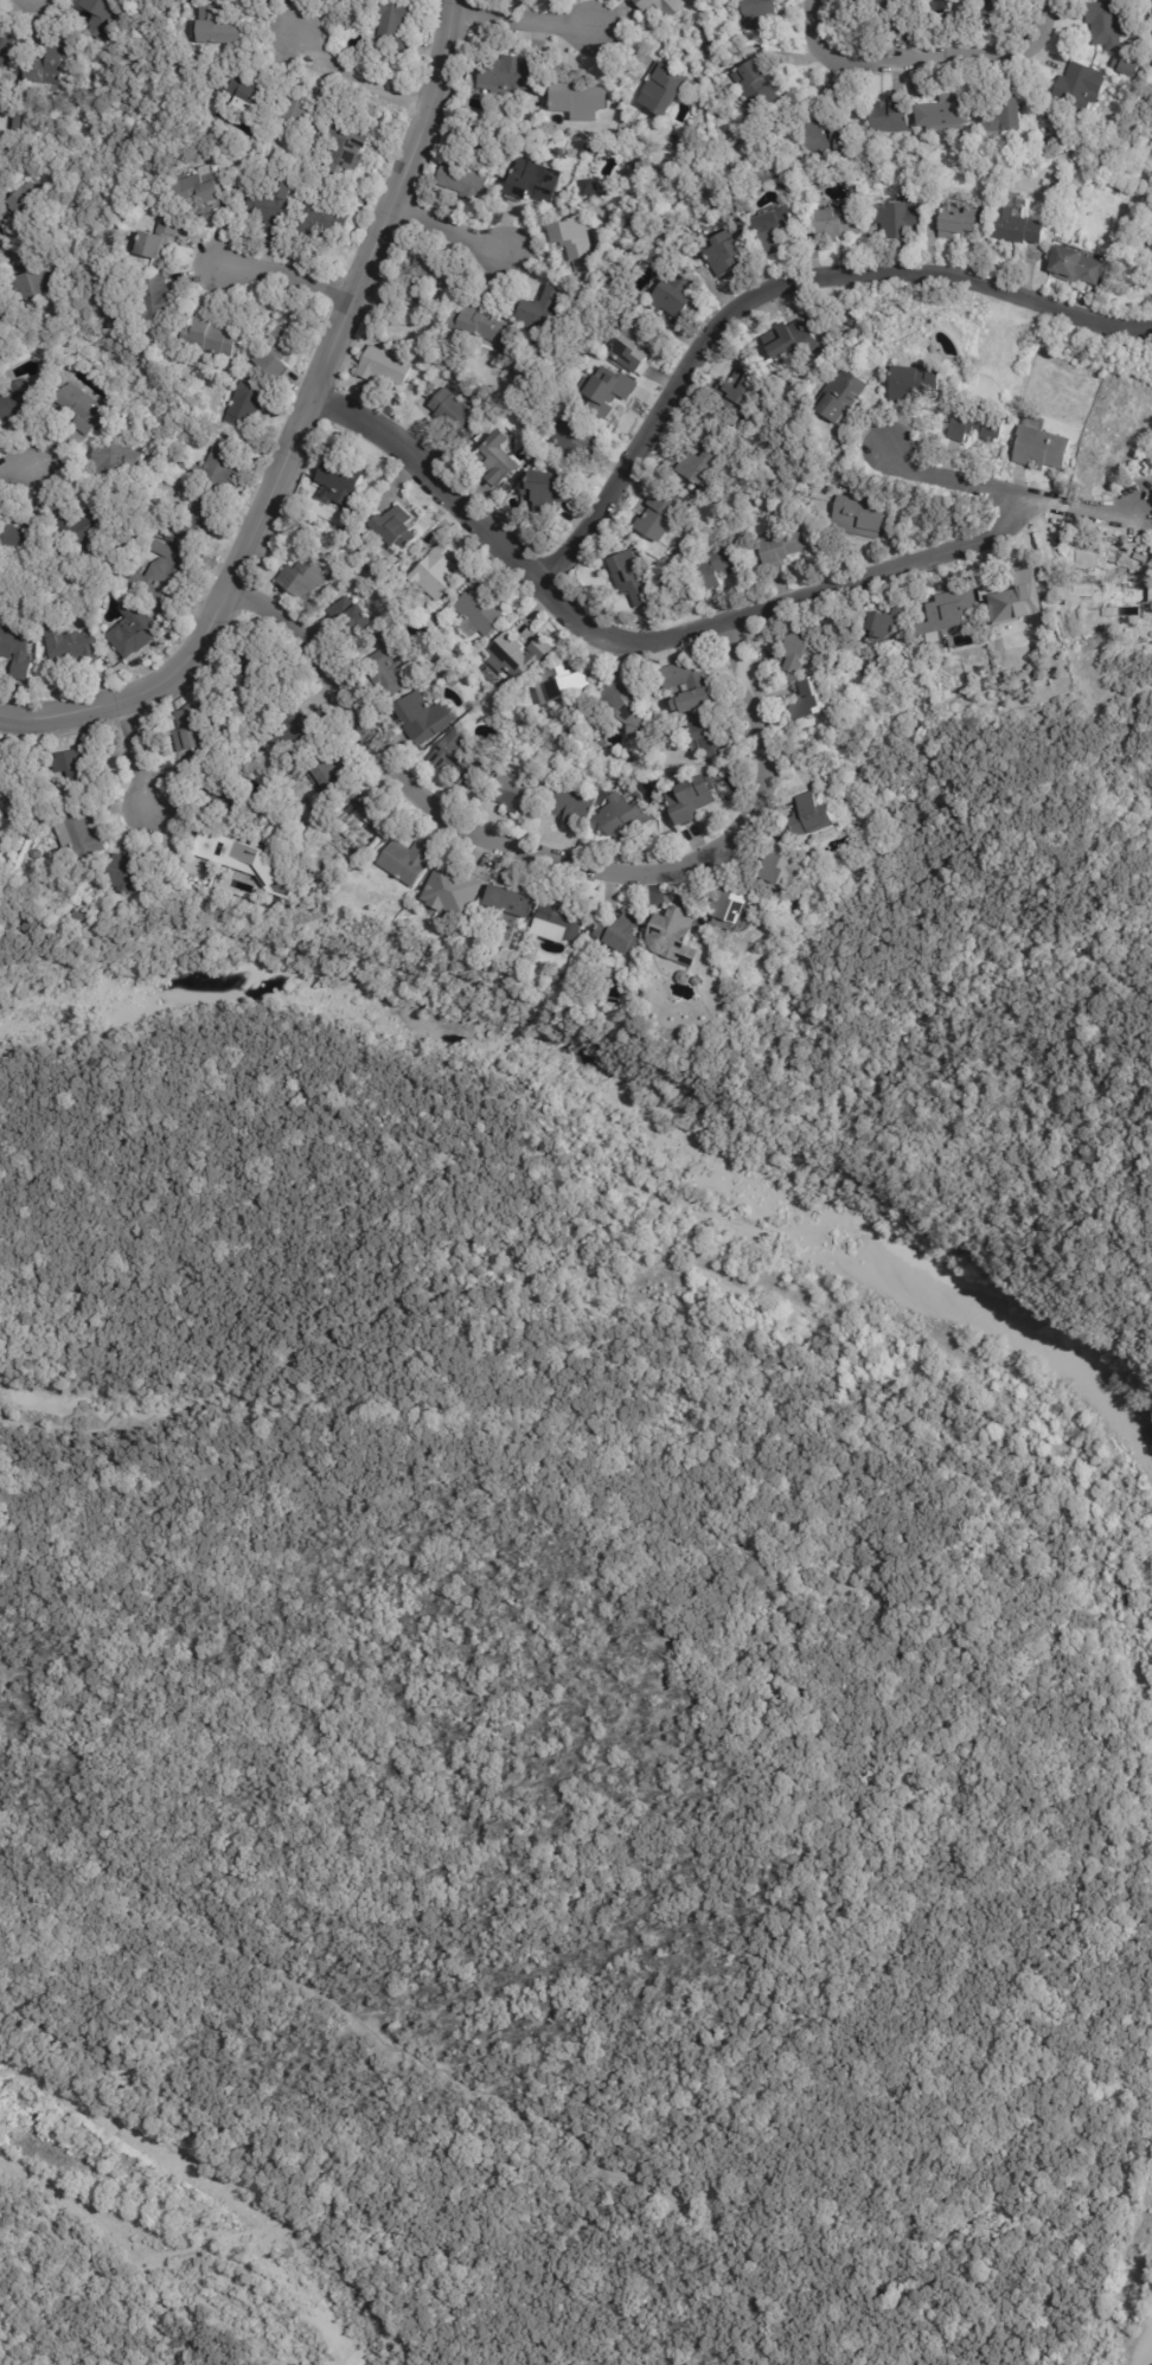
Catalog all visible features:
building: (664, 6)
building: (764, 13)
building: (986, 14)
building: (103, 15)
building: (888, 17)
road: (519, 21)
building: (1103, 23)
building: (226, 24)
building: (395, 25)
building: (5, 41)
road: (920, 60)
building: (47, 65)
building: (1122, 66)
building: (513, 75)
road: (358, 78)
building: (759, 82)
building: (667, 86)
building: (1075, 88)
building: (249, 91)
building: (575, 100)
building: (301, 111)
building: (621, 113)
building: (941, 113)
building: (885, 116)
building: (999, 116)
building: (616, 124)
building: (25, 128)
building: (825, 136)
building: (593, 146)
building: (348, 148)
building: (1051, 148)
building: (641, 166)
building: (1, 174)
building: (465, 181)
building: (535, 181)
building: (593, 187)
building: (200, 190)
building: (28, 207)
building: (273, 207)
building: (325, 220)
building: (895, 220)
building: (955, 223)
building: (831, 225)
building: (1016, 229)
road: (446, 231)
building: (780, 231)
building: (574, 237)
building: (161, 238)
building: (1148, 249)
building: (727, 252)
building: (1071, 268)
road: (287, 275)
building: (37, 276)
building: (435, 282)
road: (775, 288)
building: (676, 294)
building: (415, 295)
building: (159, 299)
building: (269, 300)
building: (542, 310)
building: (5, 313)
building: (105, 314)
building: (484, 322)
building: (213, 335)
building: (792, 340)
building: (636, 345)
building: (276, 363)
building: (386, 366)
building: (916, 383)
building: (609, 392)
building: (738, 392)
building: (849, 396)
building: (15, 402)
building: (251, 402)
building: (79, 409)
building: (455, 412)
building: (827, 418)
building: (974, 425)
road: (299, 428)
building: (581, 442)
building: (1035, 448)
building: (1107, 448)
building: (110, 460)
building: (501, 460)
building: (698, 467)
road: (18, 469)
building: (222, 470)
building: (343, 478)
building: (548, 491)
road: (1009, 494)
building: (661, 514)
building: (357, 515)
building: (859, 518)
building: (199, 520)
building: (397, 527)
building: (87, 530)
building: (142, 536)
building: (23, 537)
building: (786, 547)
building: (681, 555)
road: (508, 556)
building: (341, 564)
building: (718, 568)
building: (439, 571)
road: (884, 573)
building: (165, 576)
building: (305, 576)
building: (634, 579)
building: (1097, 592)
building: (91, 597)
building: (1016, 602)
building: (481, 611)
building: (943, 613)
building: (353, 619)
building: (885, 626)
building: (135, 632)
building: (76, 649)
building: (800, 650)
building: (17, 652)
building: (519, 655)
building: (390, 668)
building: (251, 672)
building: (568, 680)
building: (693, 685)
building: (814, 698)
building: (628, 705)
building: (249, 711)
building: (428, 717)
building: (194, 729)
building: (712, 731)
building: (296, 735)
road: (139, 749)
building: (1, 760)
building: (460, 760)
building: (558, 763)
building: (84, 771)
building: (335, 773)
building: (0, 775)
building: (0, 794)
building: (216, 794)
building: (518, 795)
building: (695, 796)
building: (572, 807)
building: (813, 814)
building: (623, 815)
building: (365, 826)
building: (81, 837)
building: (38, 853)
building: (204, 857)
road: (544, 859)
building: (410, 861)
building: (788, 866)
building: (267, 872)
building: (130, 877)
building: (456, 889)
building: (732, 903)
building: (511, 904)
building: (85, 916)
building: (562, 918)
building: (40, 923)
building: (622, 935)
building: (676, 936)
building: (685, 978)
building: (699, 982)
building: (734, 1044)
road: (128, 1194)
park: (590, 1624)
road: (939, 1671)
road: (297, 1991)

